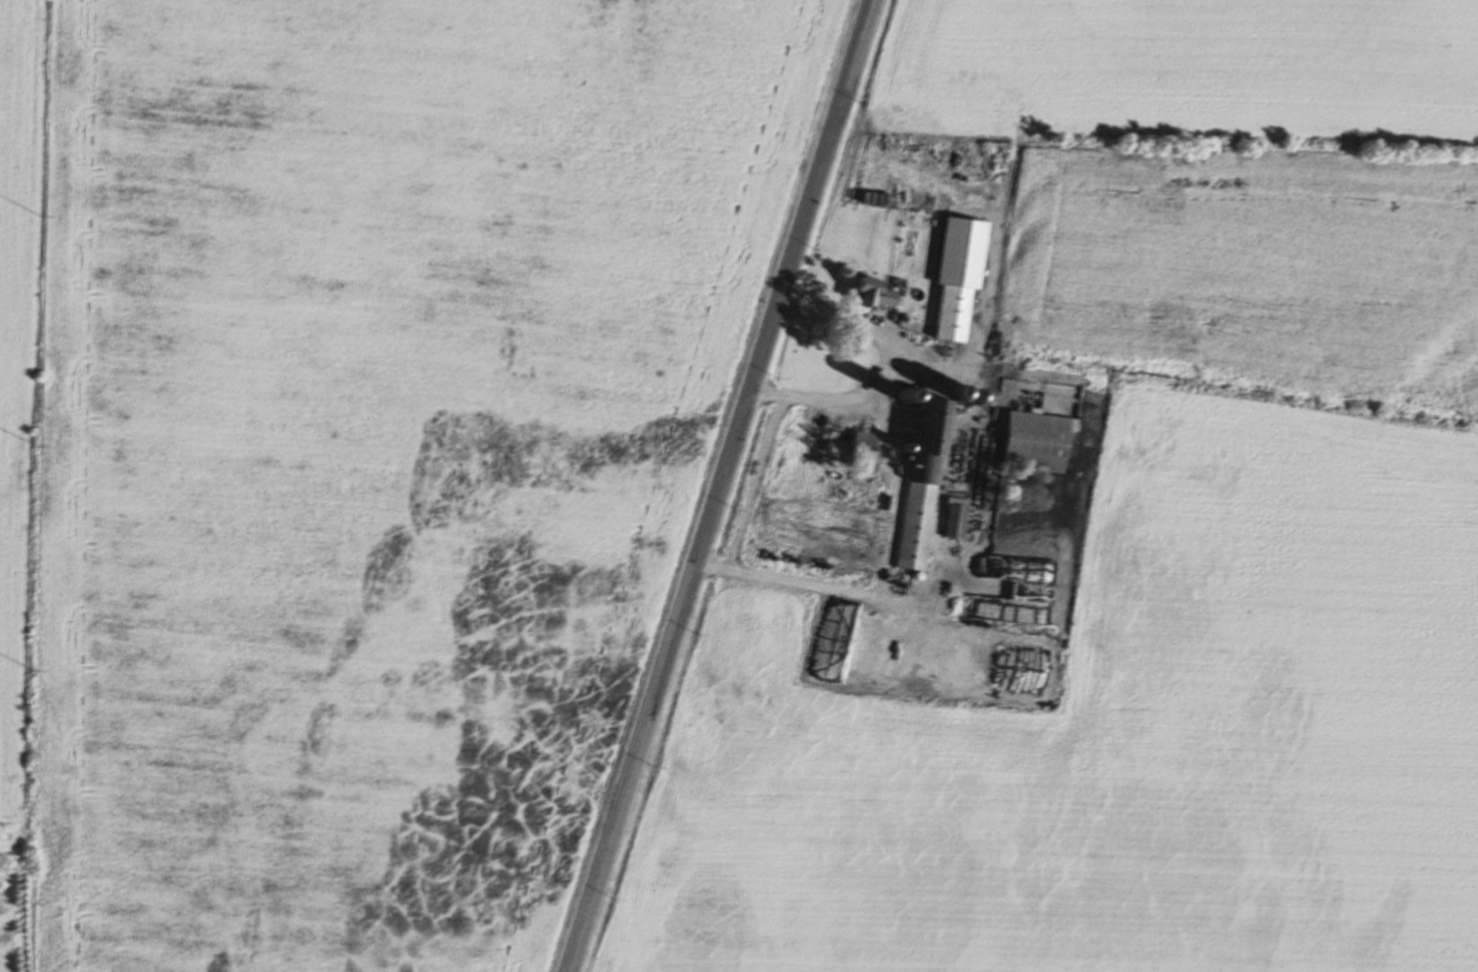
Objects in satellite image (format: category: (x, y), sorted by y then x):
building: (949, 277)
building: (863, 296)
road: (864, 326)
building: (1029, 442)
building: (854, 451)
building: (918, 474)
road: (754, 477)
road: (720, 485)
building: (949, 519)
road: (887, 526)
building: (999, 593)

